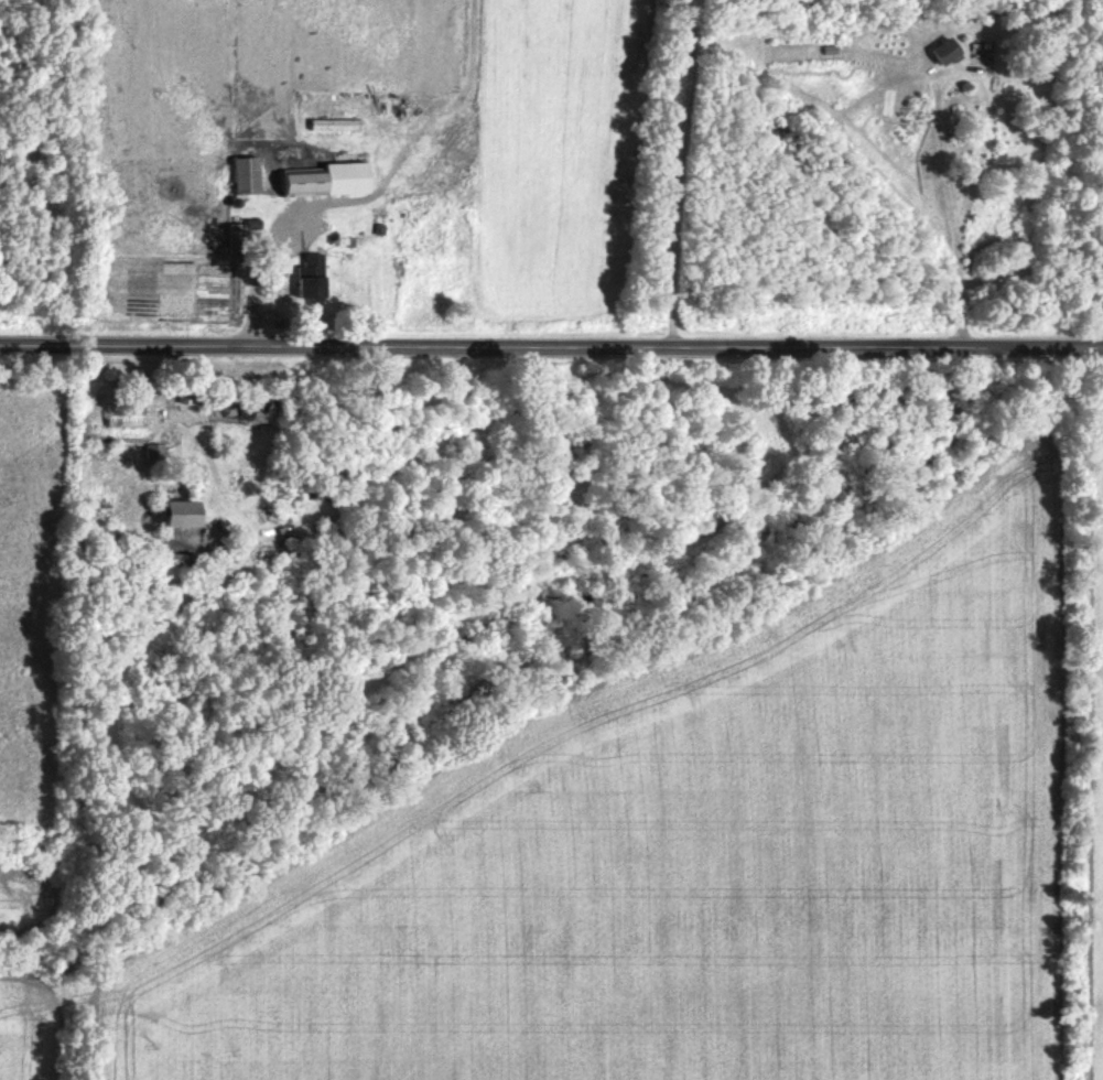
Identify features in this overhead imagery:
building: (981, 52)
building: (802, 53)
building: (937, 53)
building: (241, 177)
building: (318, 181)
building: (331, 225)
building: (301, 280)
road: (551, 344)
building: (126, 417)
building: (165, 518)
building: (170, 561)

